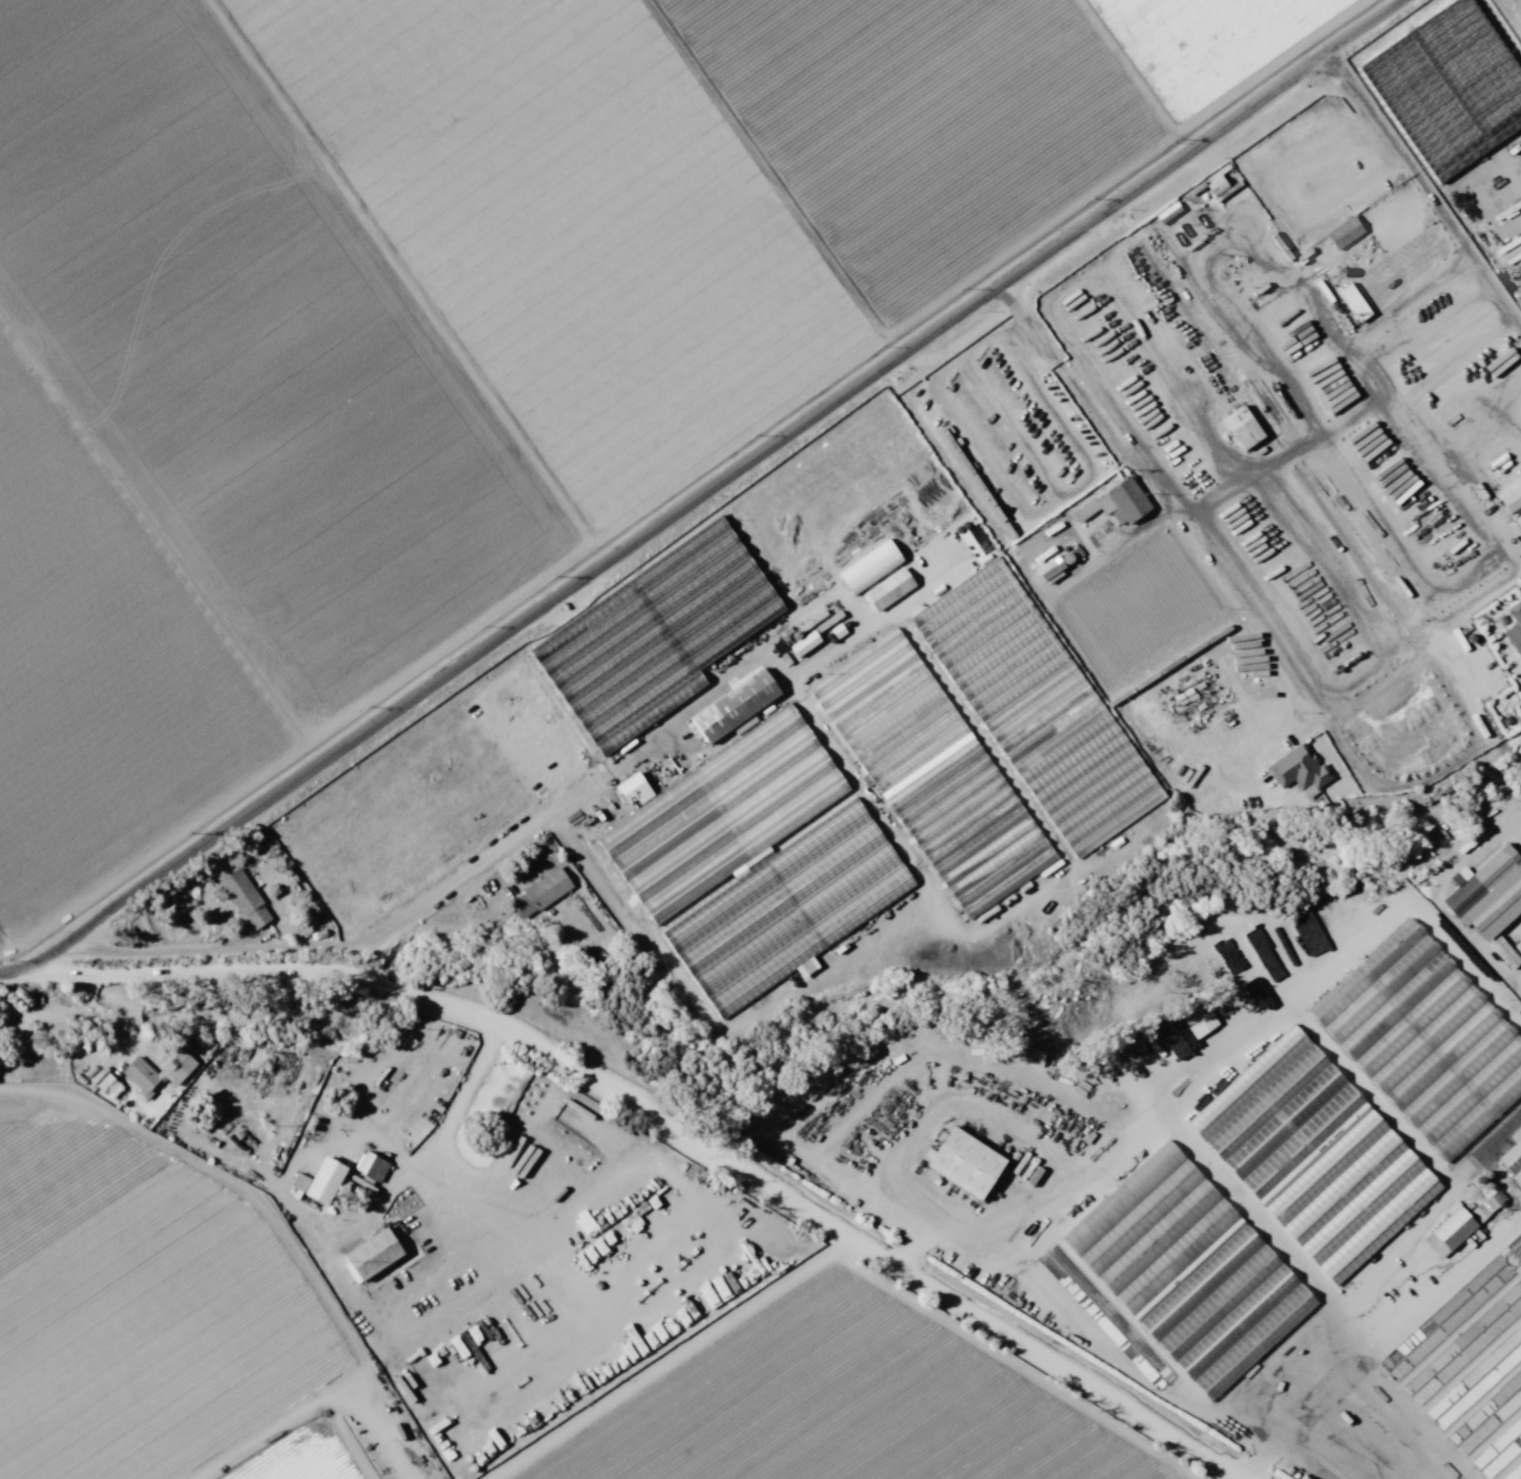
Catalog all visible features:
building: (1449, 87)
building: (1346, 233)
building: (1354, 303)
crop: (462, 325)
building: (1134, 351)
building: (1007, 432)
building: (1209, 444)
building: (1169, 476)
road: (702, 494)
building: (1512, 497)
building: (1112, 509)
building: (855, 511)
building: (1045, 543)
building: (1286, 572)
building: (1128, 599)
building: (1515, 629)
building: (819, 631)
building: (655, 637)
building: (1033, 703)
building: (735, 706)
building: (1210, 711)
building: (468, 767)
building: (1300, 770)
building: (931, 773)
building: (305, 847)
building: (755, 867)
building: (1484, 878)
building: (541, 894)
building: (246, 900)
crop: (1503, 926)
building: (1424, 1039)
building: (1169, 1060)
building: (173, 1073)
building: (141, 1075)
building: (1314, 1155)
building: (1513, 1156)
building: (967, 1163)
building: (373, 1167)
road: (658, 1175)
building: (321, 1182)
building: (1450, 1232)
building: (374, 1254)
building: (1189, 1271)
crop: (167, 1285)
road: (509, 1315)
road: (323, 1436)
building: (1511, 1471)
building: (439, 1475)

